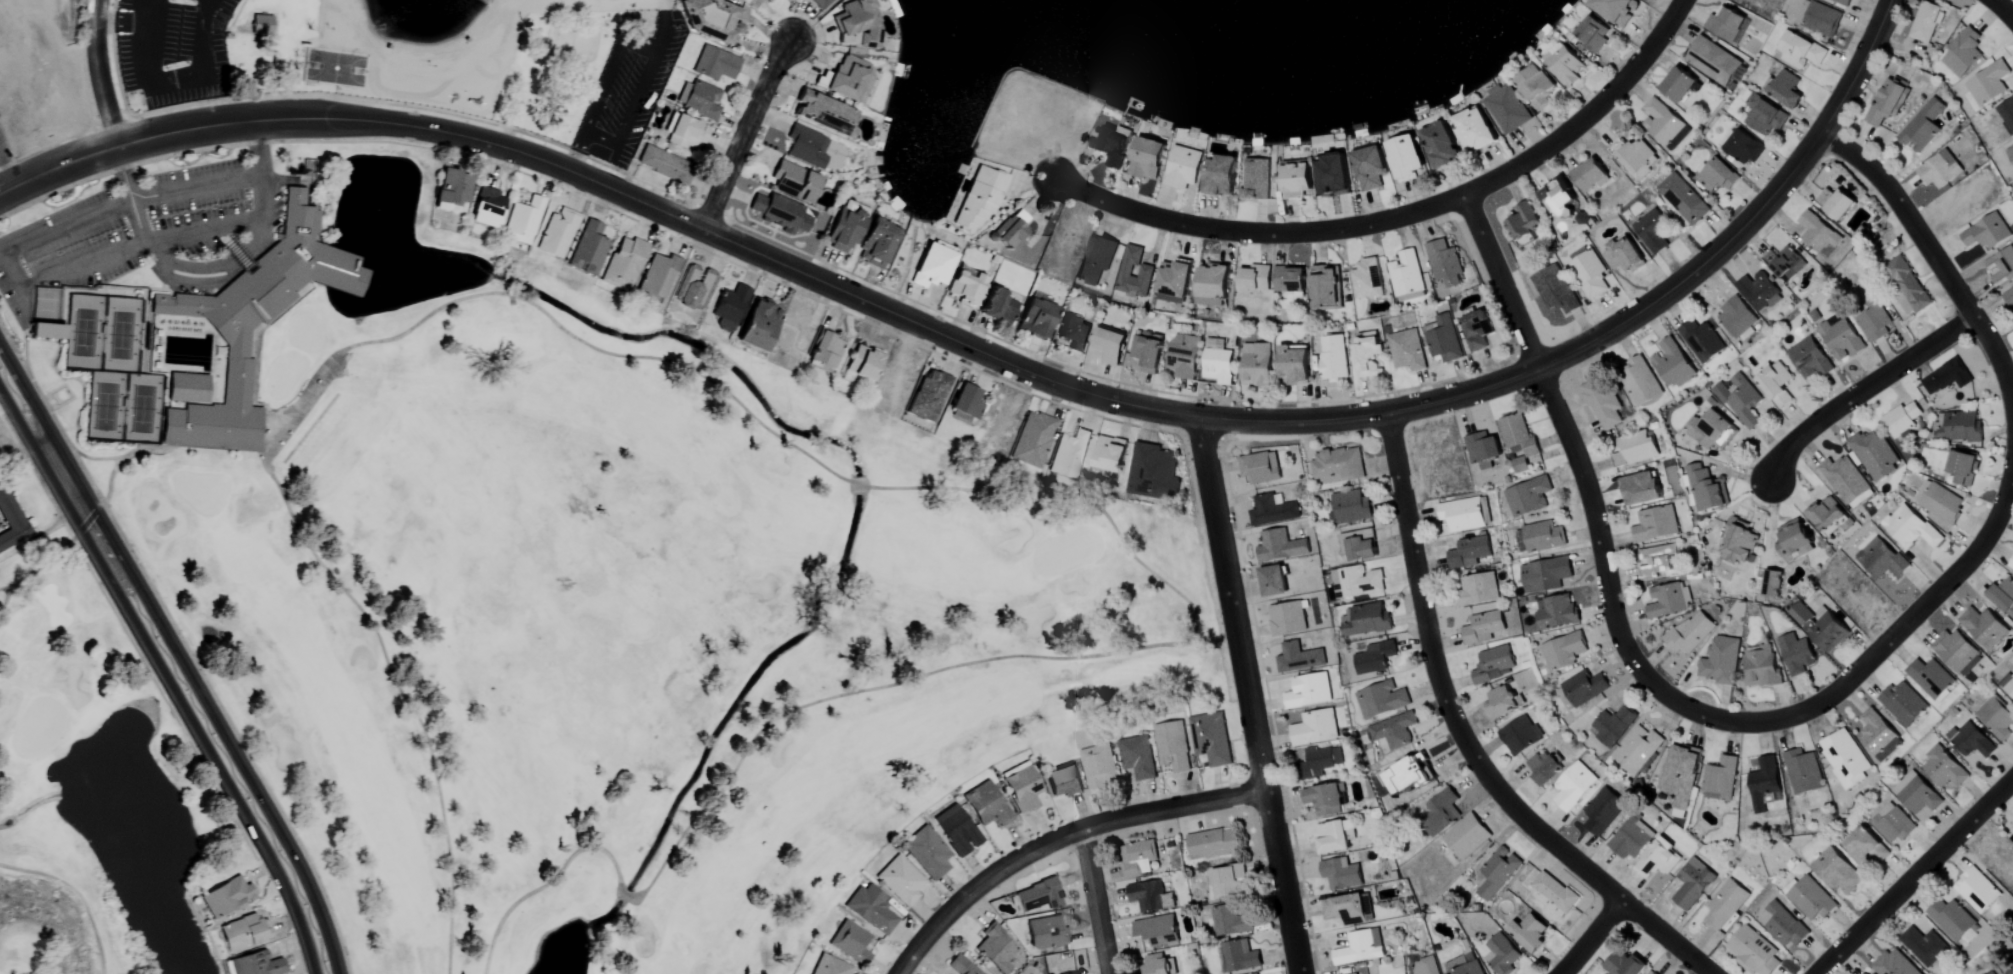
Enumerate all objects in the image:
building: (1843, 2)
building: (817, 3)
road: (663, 4)
road: (2001, 8)
building: (1613, 9)
road: (150, 11)
road: (262, 12)
road: (339, 17)
building: (1819, 17)
building: (261, 19)
building: (712, 19)
building: (1925, 22)
building: (1727, 25)
building: (1593, 34)
parking lot: (174, 49)
road: (637, 49)
building: (1803, 52)
park: (437, 54)
building: (1962, 54)
building: (1713, 61)
road: (387, 64)
building: (714, 64)
building: (1565, 64)
road: (1857, 66)
park: (335, 68)
road: (101, 75)
building: (847, 78)
road: (155, 84)
building: (1988, 84)
building: (1679, 85)
building: (1536, 86)
road: (598, 90)
building: (1787, 90)
parking lot: (627, 92)
building: (698, 100)
building: (1887, 102)
building: (1507, 108)
building: (2006, 113)
building: (823, 114)
building: (1764, 114)
road: (627, 119)
building: (1663, 125)
building: (1922, 127)
building: (1475, 129)
building: (686, 133)
road: (746, 133)
building: (1441, 145)
building: (806, 147)
building: (1112, 147)
building: (1745, 147)
parking lot: (4, 150)
building: (2010, 151)
road: (573, 153)
building: (1406, 157)
building: (1148, 159)
building: (1636, 159)
building: (664, 165)
building: (1183, 168)
building: (1370, 168)
building: (1940, 170)
road: (5, 171)
building: (1222, 175)
building: (1334, 175)
building: (1589, 175)
building: (1718, 176)
building: (1256, 179)
building: (1296, 179)
building: (794, 182)
road: (258, 189)
building: (451, 189)
building: (978, 198)
building: (1560, 199)
building: (1683, 199)
building: (1840, 206)
building: (486, 208)
building: (779, 213)
parking lot: (187, 218)
road: (1406, 218)
building: (523, 219)
building: (1523, 222)
building: (846, 226)
building: (1653, 231)
building: (556, 233)
building: (1987, 233)
building: (1819, 235)
road: (40, 236)
road: (152, 238)
building: (876, 244)
building: (588, 249)
road: (236, 256)
road: (1934, 259)
building: (1096, 260)
building: (1444, 263)
building: (623, 264)
building: (1787, 264)
building: (931, 267)
building: (2001, 268)
building: (1145, 271)
road: (162, 272)
building: (1590, 274)
building: (1406, 277)
building: (1255, 278)
building: (1366, 279)
building: (656, 280)
building: (1174, 283)
building: (1907, 284)
building: (1213, 286)
building: (964, 287)
building: (694, 288)
building: (1326, 288)
building: (1546, 288)
building: (1759, 292)
building: (2009, 298)
building: (997, 306)
building: (729, 307)
building: (1036, 316)
building: (1738, 320)
building: (1872, 321)
building: (253, 323)
building: (758, 326)
building: (1476, 331)
building: (1074, 335)
road: (942, 336)
building: (1444, 340)
building: (1841, 340)
building: (1701, 341)
building: (1110, 346)
building: (825, 351)
building: (1147, 351)
building: (1406, 351)
building: (1366, 355)
building: (1183, 356)
building: (1334, 358)
building: (1809, 359)
building: (1217, 362)
building: (863, 363)
building: (1295, 364)
building: (1671, 364)
building: (1257, 367)
park: (113, 370)
building: (1946, 377)
building: (1639, 381)
building: (1776, 384)
building: (186, 388)
road: (1864, 392)
building: (928, 396)
building: (1743, 401)
building: (1602, 403)
building: (965, 405)
building: (1901, 420)
building: (1957, 427)
building: (1710, 431)
building: (1518, 435)
building: (1032, 439)
building: (1482, 450)
building: (1633, 450)
building: (1068, 454)
building: (1110, 454)
building: (1875, 455)
road: (22, 456)
building: (1520, 465)
building: (1337, 466)
building: (1260, 468)
building: (1959, 468)
building: (1152, 473)
building: (1846, 482)
building: (1641, 489)
building: (1705, 490)
road: (1589, 492)
building: (1528, 497)
building: (1939, 502)
building: (1351, 507)
building: (1273, 511)
building: (1464, 515)
building: (1826, 515)
building: (10, 522)
building: (1655, 525)
building: (1910, 528)
road: (40, 534)
building: (1539, 537)
building: (1794, 541)
building: (1739, 543)
building: (1280, 547)
building: (1362, 550)
building: (1469, 553)
building: (1881, 559)
building: (1656, 561)
building: (2011, 565)
building: (1545, 575)
building: (1273, 582)
building: (1358, 582)
building: (1772, 584)
building: (1477, 590)
park: (502, 597)
building: (2004, 597)
building: (1669, 601)
building: (1556, 612)
building: (1801, 615)
building: (1286, 619)
road: (1908, 619)
building: (1368, 620)
building: (1483, 628)
building: (1984, 628)
building: (1828, 631)
building: (1689, 635)
building: (1563, 652)
building: (1957, 652)
building: (1795, 654)
building: (1298, 658)
building: (1374, 658)
building: (1720, 661)
building: (1494, 664)
building: (1761, 666)
road: (172, 668)
building: (1931, 679)
building: (2009, 687)
building: (1584, 688)
building: (1309, 691)
road: (1246, 697)
building: (1380, 699)
building: (1501, 702)
building: (1903, 704)
building: (1996, 720)
building: (1613, 725)
building: (1315, 728)
building: (1393, 730)
building: (1520, 735)
building: (1879, 735)
building: (1210, 738)
building: (1970, 740)
road: (1462, 741)
building: (1172, 745)
building: (1637, 750)
building: (1845, 758)
building: (1137, 759)
building: (1320, 762)
building: (1098, 766)
building: (1543, 766)
building: (1943, 767)
building: (1802, 771)
building: (1408, 774)
building: (1678, 775)
building: (1720, 779)
building: (1063, 781)
building: (1765, 784)
building: (1573, 786)
building: (1022, 789)
building: (1917, 794)
building: (1325, 798)
building: (986, 804)
building: (1441, 809)
building: (1602, 810)
building: (1893, 823)
building: (2012, 828)
building: (956, 830)
building: (1467, 836)
building: (1332, 837)
building: (1631, 837)
road: (1057, 840)
building: (1213, 843)
building: (1866, 847)
building: (926, 853)
building: (1137, 858)
building: (1657, 859)
building: (1836, 871)
building: (1497, 872)
building: (1341, 873)
road: (1915, 875)
building: (899, 880)
building: (1226, 880)
building: (1693, 883)
building: (1977, 890)
building: (1555, 891)
building: (1038, 896)
building: (1150, 896)
building: (225, 897)
building: (1809, 898)
road: (1097, 901)
building: (1725, 904)
building: (870, 909)
building: (1346, 909)
building: (1951, 919)
building: (1230, 921)
building: (1781, 924)
building: (1155, 928)
building: (241, 932)
building: (1047, 933)
building: (1529, 933)
road: (1591, 937)
building: (850, 942)
building: (1925, 946)
building: (1360, 947)
building: (995, 949)
building: (1752, 951)
building: (1501, 955)
building: (1240, 957)
building: (254, 964)
building: (1624, 964)
building: (1894, 964)
building: (1158, 965)
building: (1464, 965)
building: (961, 966)
building: (1426, 966)
building: (1078, 973)
building: (1356, 973)
building: (1654, 973)
building: (1864, 973)
building: (1994, 973)

